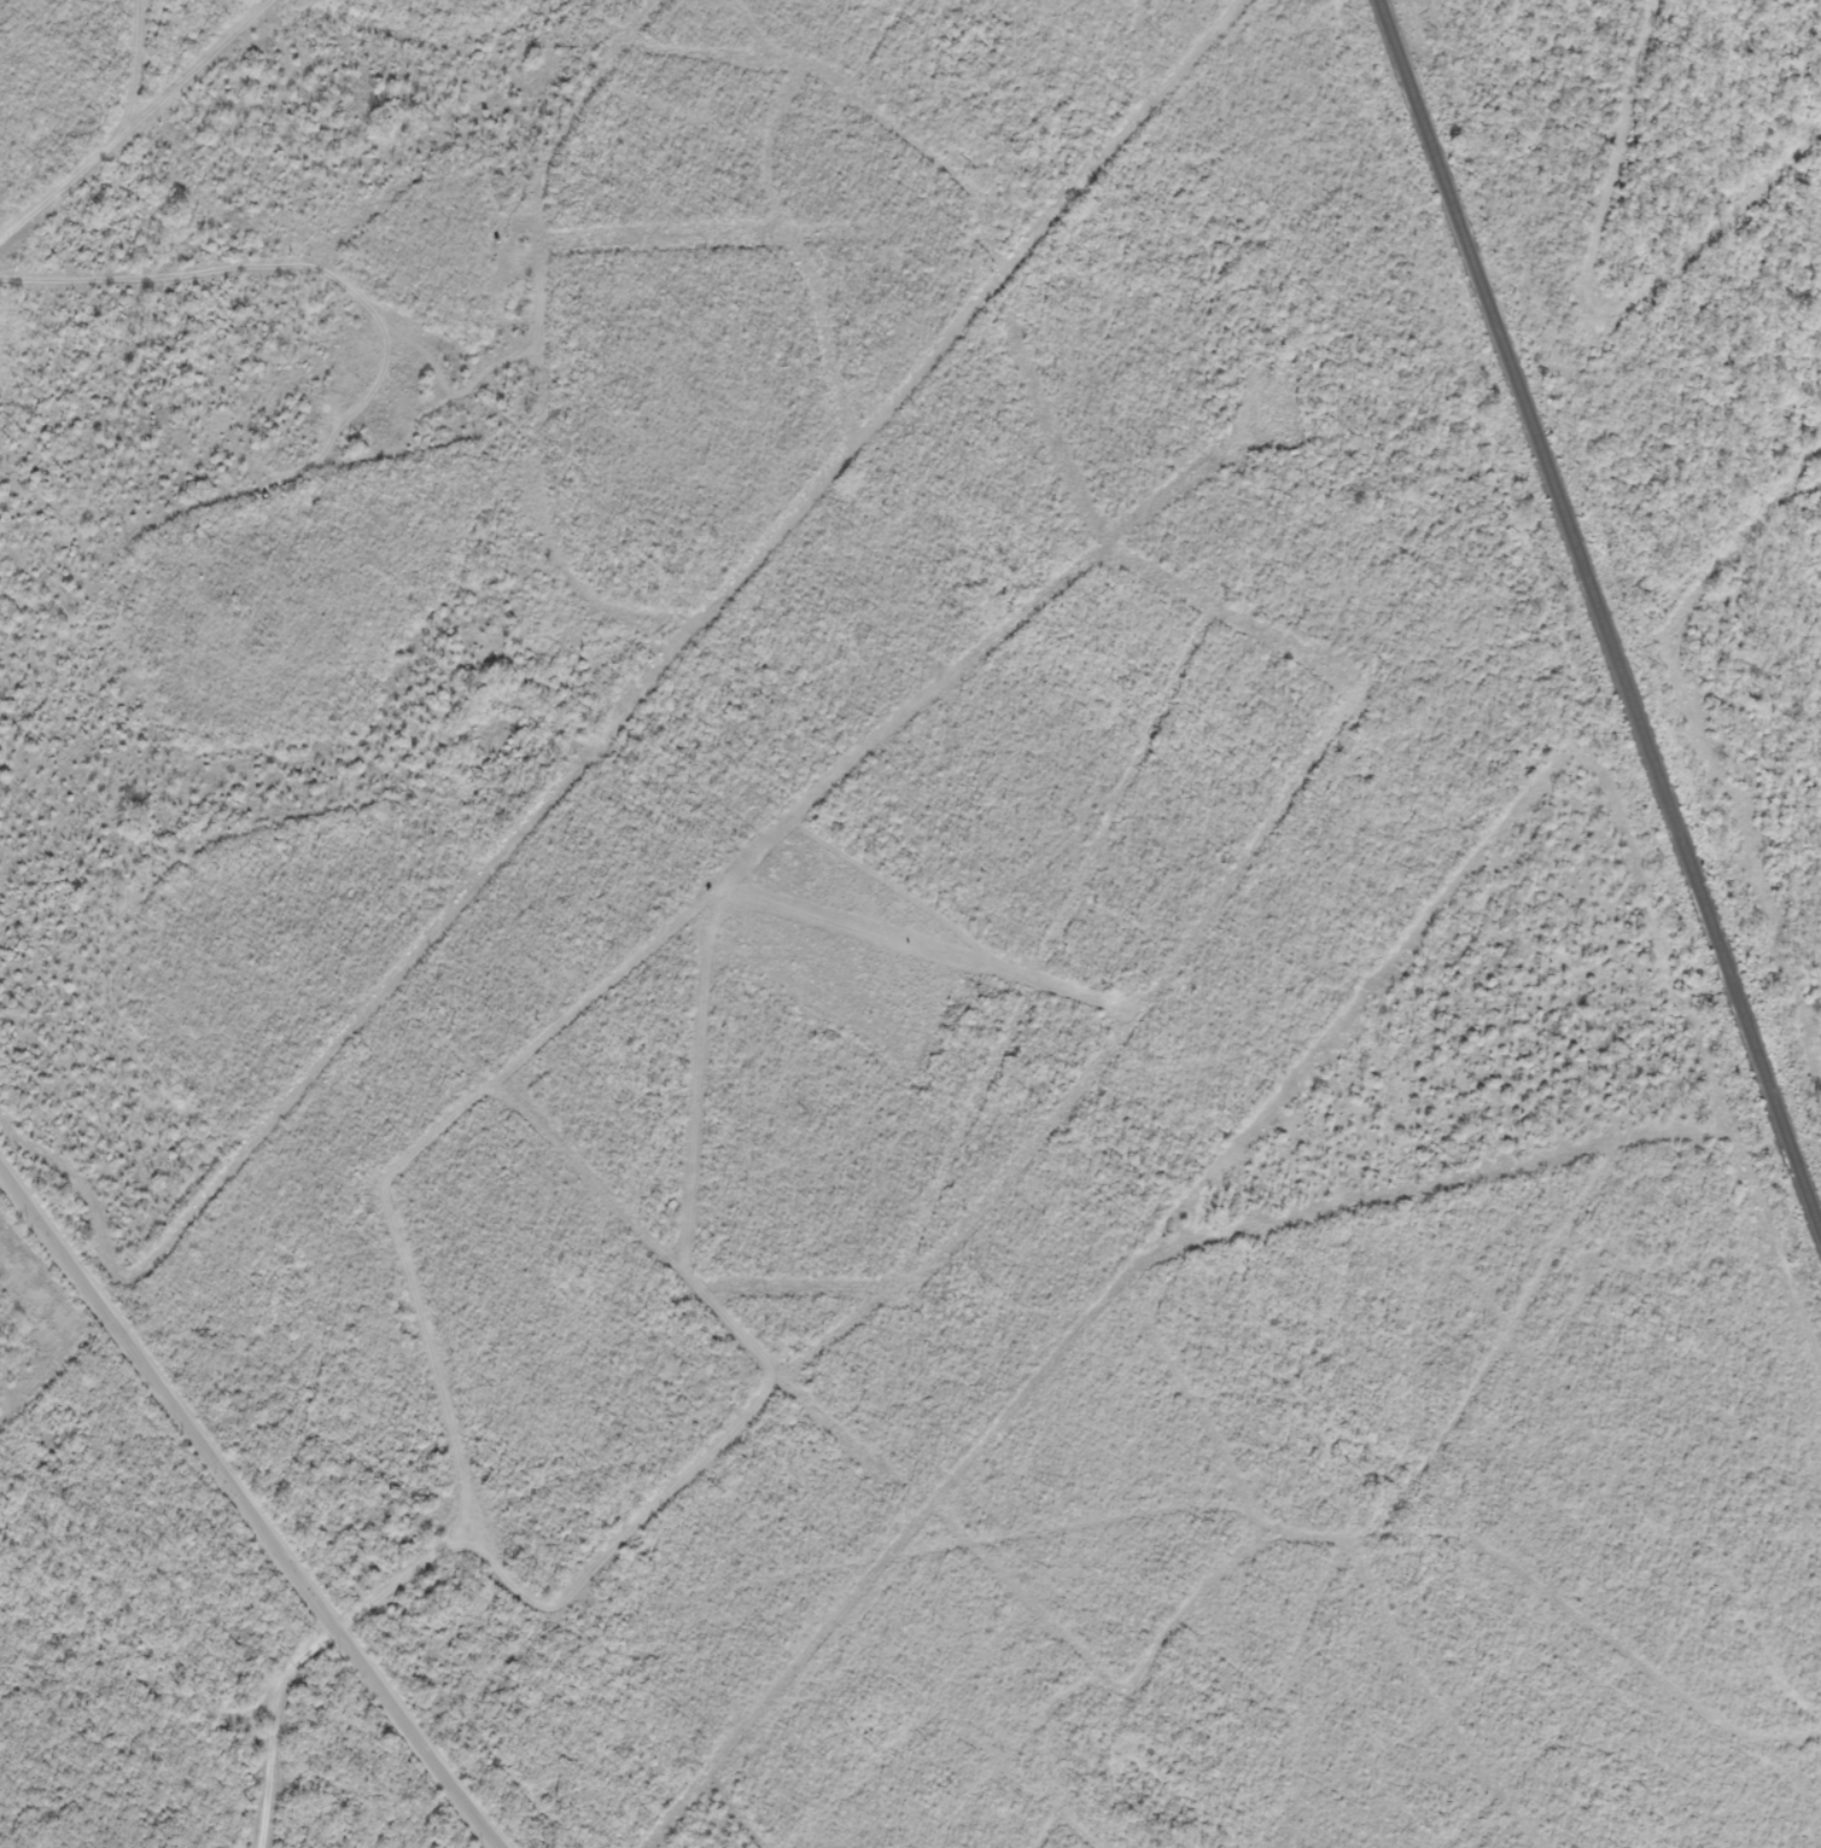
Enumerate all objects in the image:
road: (124, 115)
railway: (1598, 618)
road: (1557, 718)
road: (586, 789)
road: (1172, 1506)
road: (253, 1508)

